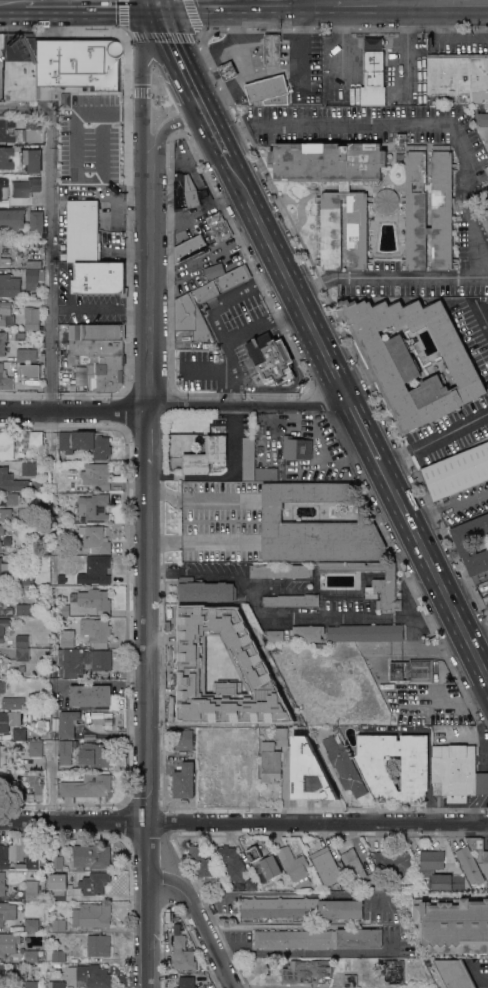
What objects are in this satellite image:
road: (40, 0)
road: (92, 0)
road: (153, 0)
road: (277, 0)
road: (396, 0)
road: (12, 1)
road: (89, 1)
traffic signals: (153, 1)
road: (224, 1)
road: (314, 1)
road: (364, 1)
road: (442, 1)
road: (149, 20)
building: (272, 49)
road: (301, 49)
road: (180, 56)
building: (16, 66)
building: (228, 71)
building: (449, 74)
building: (479, 78)
building: (374, 79)
building: (71, 81)
building: (267, 89)
road: (145, 112)
building: (85, 118)
building: (482, 119)
road: (213, 125)
building: (19, 131)
road: (162, 135)
road: (225, 148)
building: (5, 157)
building: (31, 160)
building: (2, 182)
road: (467, 182)
building: (25, 187)
building: (190, 192)
building: (386, 200)
building: (442, 210)
building: (11, 219)
building: (36, 223)
building: (216, 229)
building: (81, 231)
road: (50, 234)
building: (331, 234)
building: (190, 247)
building: (4, 255)
building: (32, 264)
building: (214, 270)
building: (233, 277)
building: (33, 278)
building: (99, 278)
building: (9, 286)
building: (206, 292)
road: (231, 297)
road: (147, 298)
road: (86, 311)
building: (6, 313)
road: (482, 314)
building: (32, 315)
building: (190, 318)
building: (100, 331)
road: (234, 336)
building: (3, 343)
building: (95, 346)
building: (26, 355)
building: (41, 357)
building: (271, 359)
building: (412, 360)
building: (30, 371)
building: (103, 371)
road: (206, 371)
building: (5, 380)
road: (249, 407)
road: (74, 412)
road: (357, 419)
building: (35, 439)
road: (149, 439)
road: (435, 440)
building: (85, 443)
building: (7, 445)
building: (296, 448)
building: (206, 456)
building: (248, 458)
building: (28, 468)
building: (456, 472)
building: (264, 473)
building: (97, 475)
building: (11, 481)
building: (54, 487)
road: (200, 494)
building: (12, 498)
road: (448, 504)
building: (94, 507)
building: (3, 514)
building: (316, 526)
building: (2, 529)
building: (96, 538)
road: (203, 541)
building: (471, 543)
building: (1, 547)
building: (20, 549)
building: (4, 568)
building: (95, 571)
building: (281, 571)
road: (228, 575)
building: (26, 578)
building: (61, 579)
road: (419, 582)
building: (383, 583)
road: (466, 584)
building: (205, 590)
building: (1, 597)
building: (96, 600)
building: (291, 600)
road: (254, 602)
road: (409, 607)
building: (22, 610)
building: (62, 610)
road: (433, 618)
road: (337, 619)
building: (3, 628)
road: (476, 628)
building: (96, 631)
building: (365, 632)
building: (306, 633)
building: (215, 635)
building: (275, 636)
building: (67, 640)
building: (22, 641)
building: (53, 644)
building: (22, 654)
building: (82, 661)
building: (412, 670)
building: (53, 673)
building: (2, 687)
building: (95, 697)
building: (13, 703)
road: (279, 706)
building: (9, 720)
building: (69, 723)
road: (149, 727)
building: (19, 734)
building: (296, 734)
building: (183, 740)
building: (36, 749)
building: (66, 753)
building: (94, 755)
building: (273, 756)
building: (2, 757)
building: (344, 765)
building: (211, 766)
building: (241, 768)
building: (459, 773)
building: (303, 776)
building: (378, 777)
building: (184, 781)
building: (9, 786)
building: (87, 786)
building: (29, 797)
road: (243, 823)
building: (477, 847)
building: (25, 854)
building: (4, 857)
building: (91, 857)
building: (201, 861)
building: (231, 862)
building: (394, 862)
building: (57, 863)
building: (469, 865)
building: (264, 866)
building: (294, 866)
building: (326, 866)
building: (428, 871)
building: (361, 872)
building: (94, 883)
building: (411, 883)
building: (2, 884)
building: (211, 884)
building: (251, 884)
building: (31, 891)
building: (58, 894)
building: (302, 908)
road: (391, 911)
building: (7, 912)
building: (91, 915)
road: (199, 921)
building: (58, 925)
building: (452, 925)
building: (32, 926)
building: (177, 929)
building: (318, 939)
building: (8, 943)
building: (98, 945)
building: (183, 954)
building: (31, 956)
building: (58, 956)
building: (49, 966)
building: (306, 971)
building: (393, 971)
building: (454, 973)
building: (1, 975)
road: (478, 976)
building: (92, 977)
building: (350, 981)
building: (186, 982)
building: (34, 984)
building: (58, 984)

